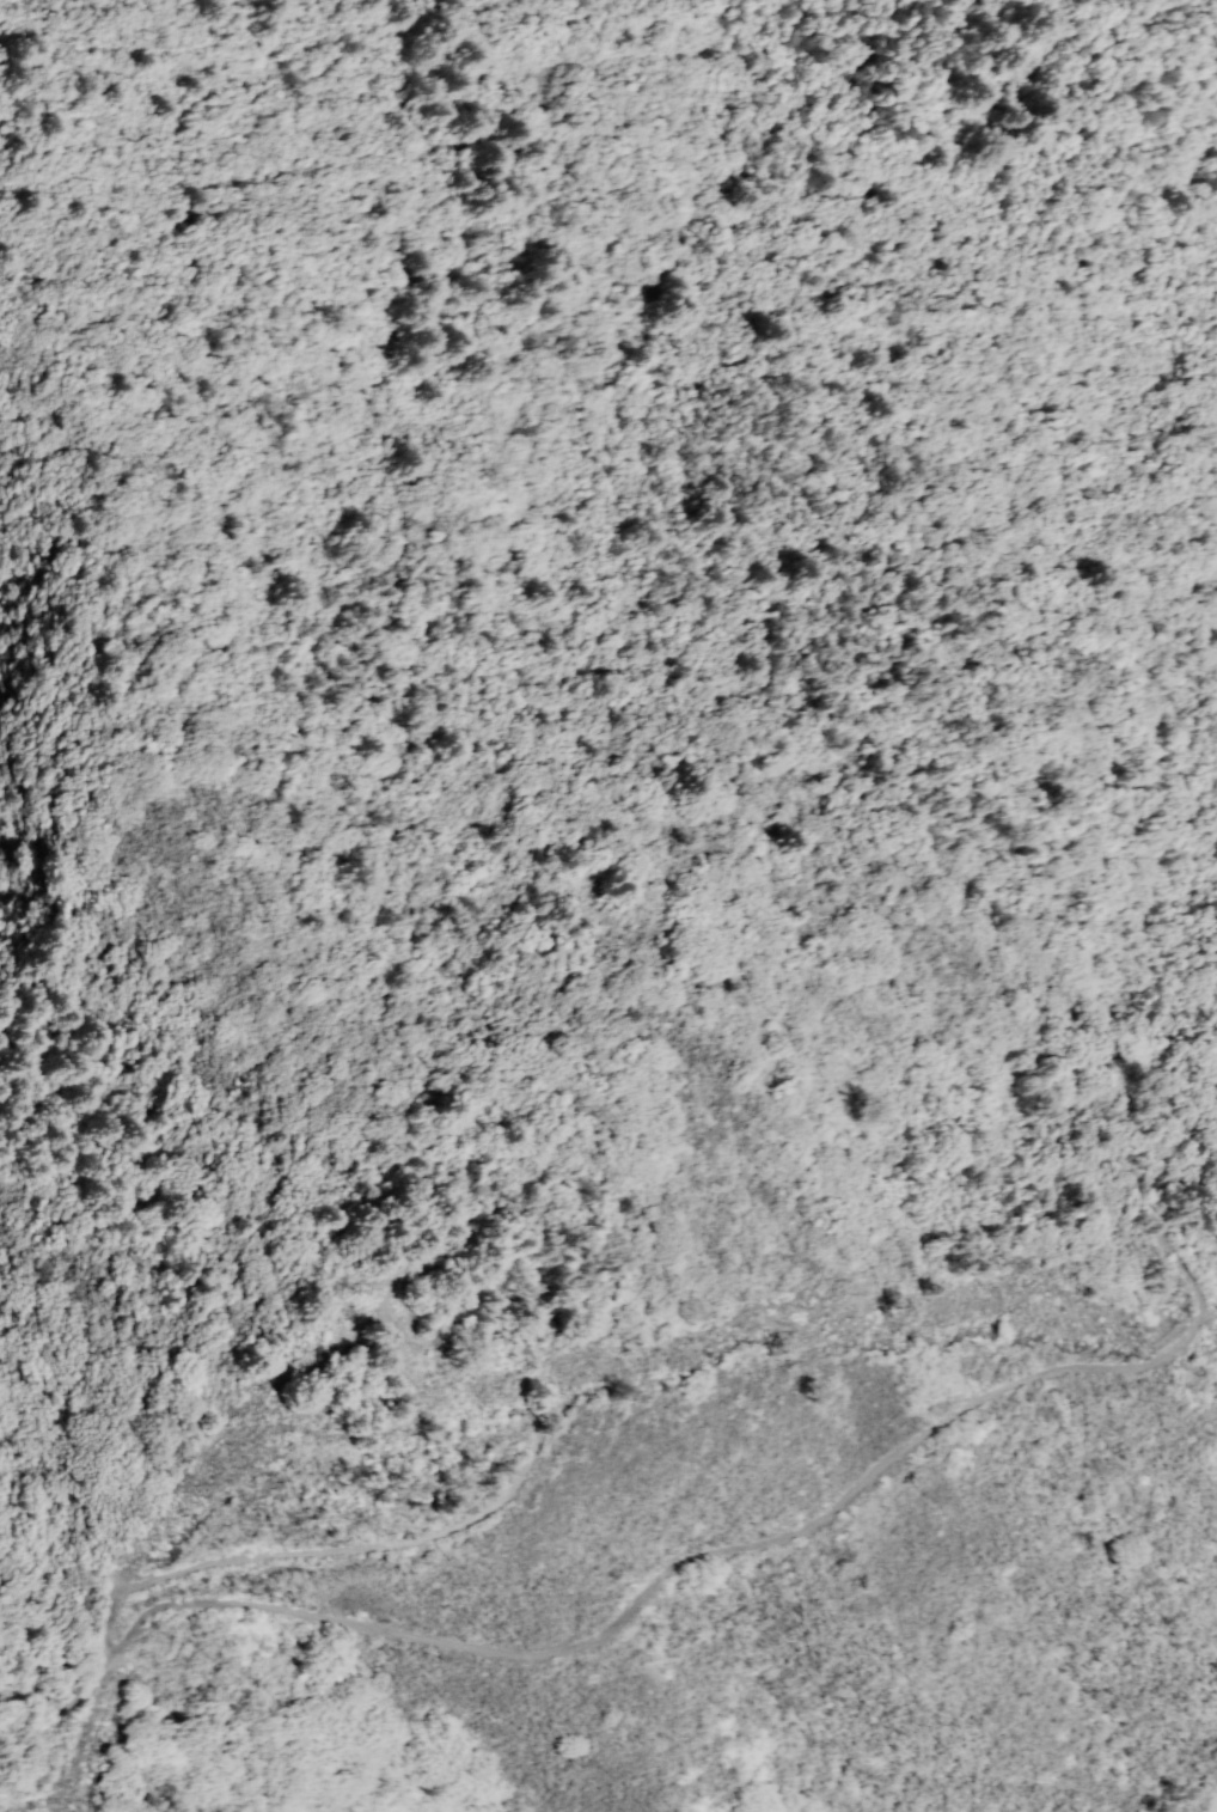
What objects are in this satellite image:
road: (450, 1520)
road: (678, 1563)

